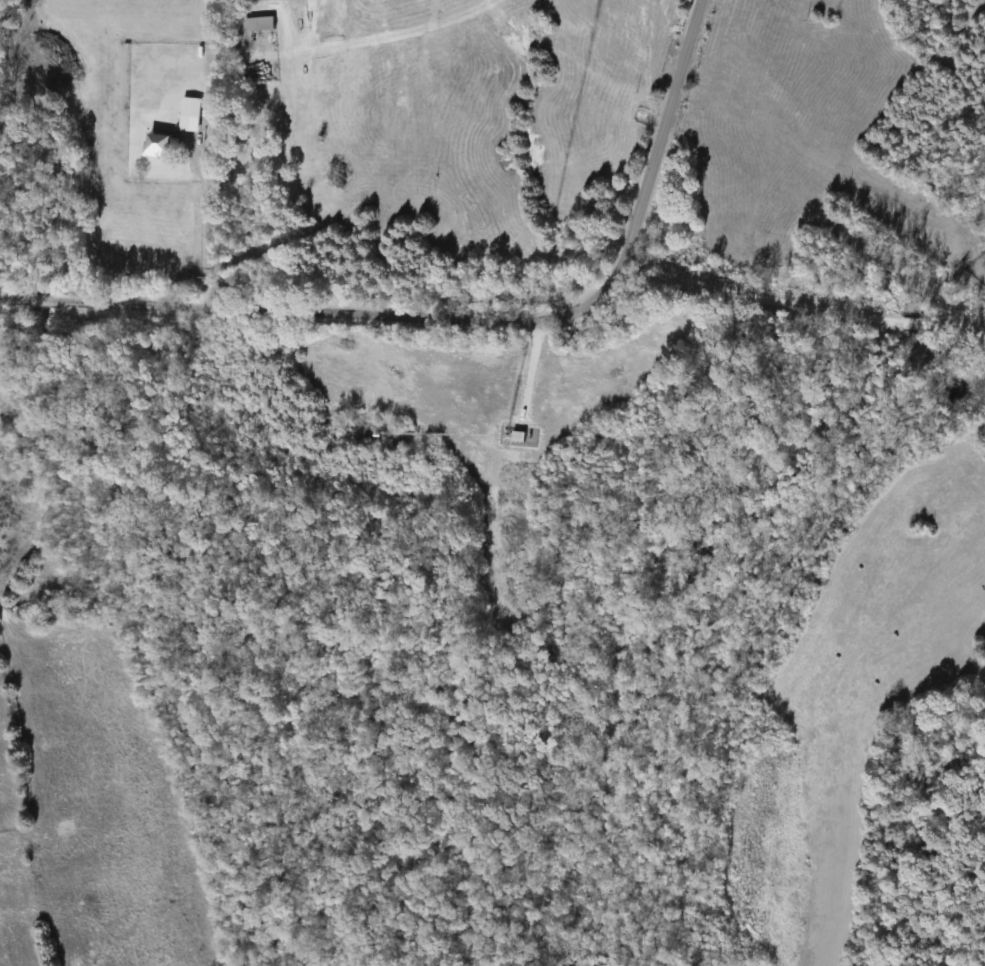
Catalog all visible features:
building: (252, 24)
building: (188, 107)
building: (153, 144)
road: (206, 224)
road: (802, 307)
road: (460, 318)

